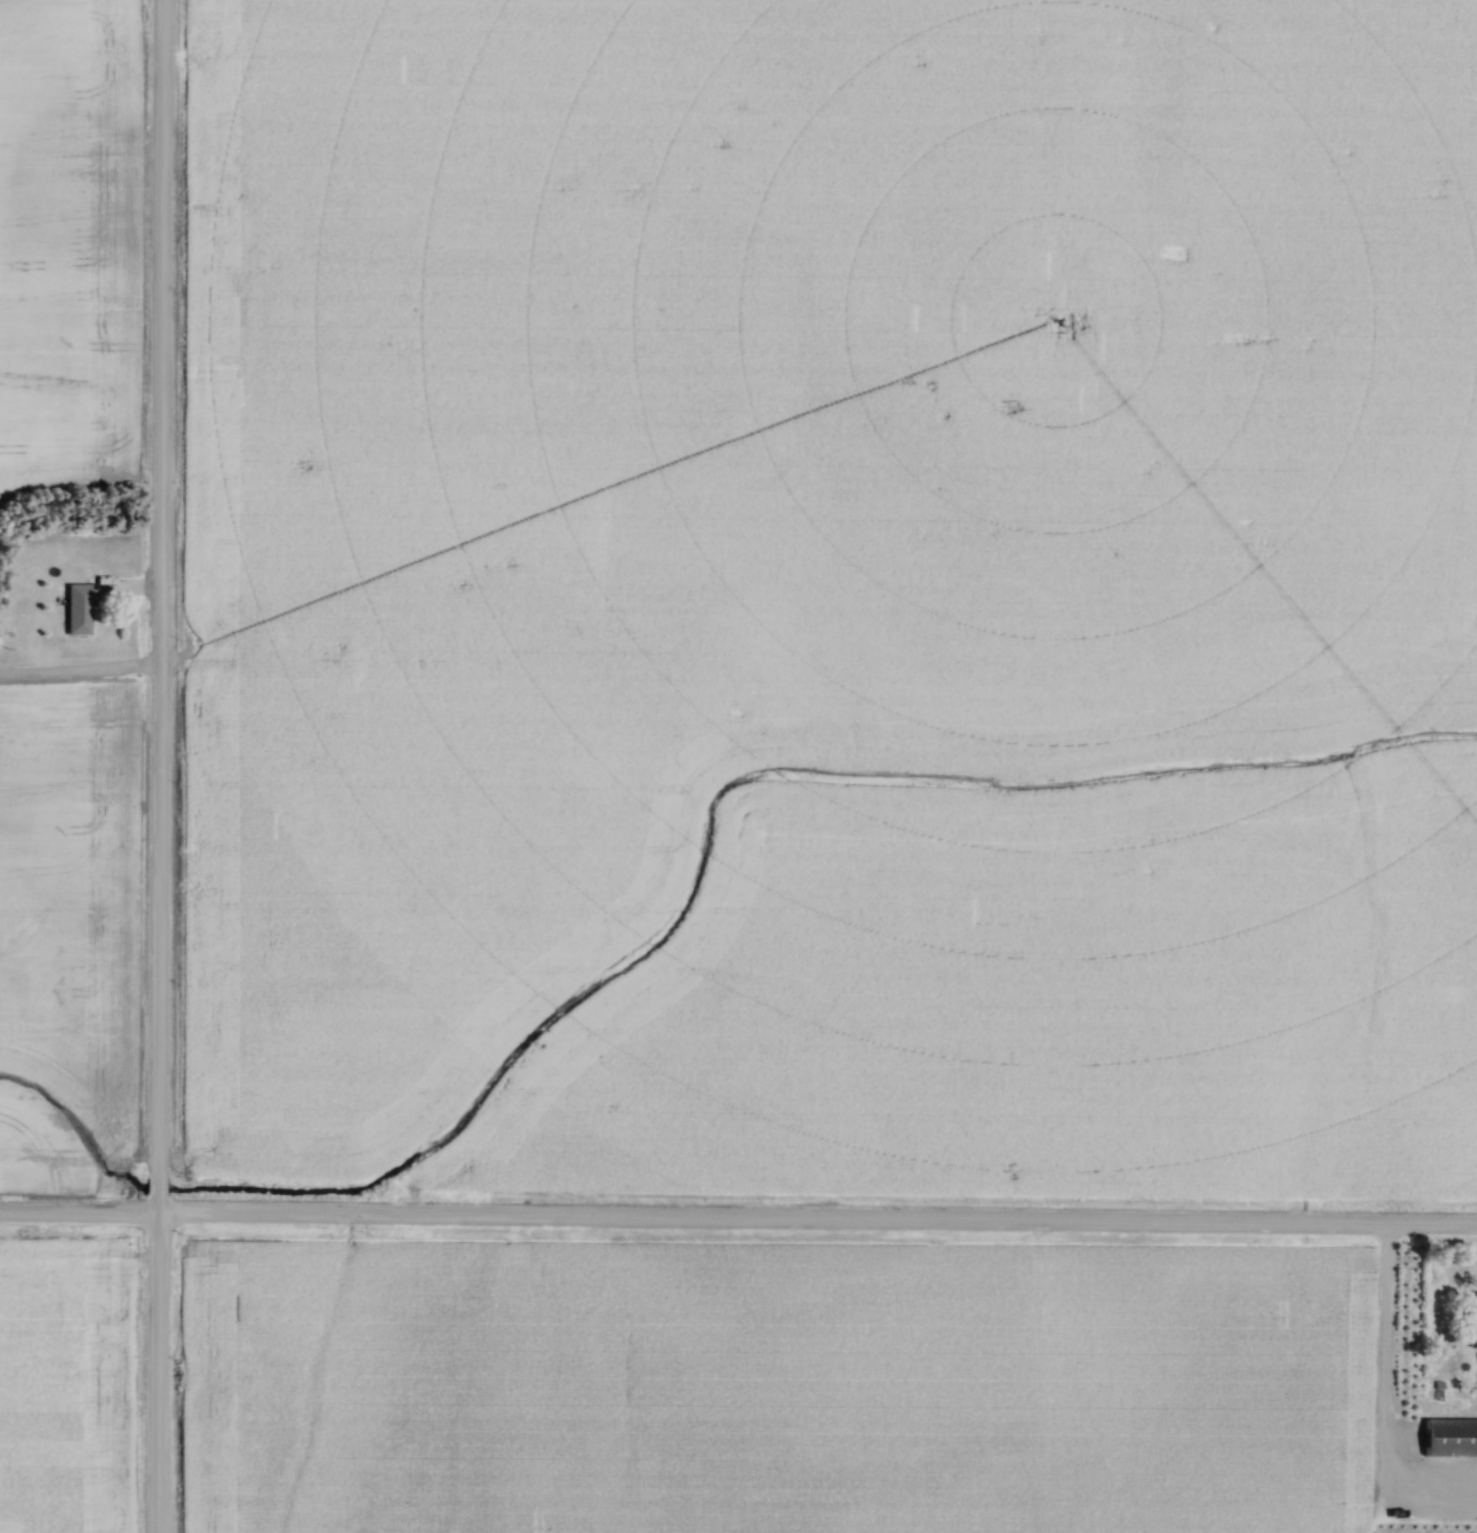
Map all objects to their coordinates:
building: (80, 609)
road: (80, 668)
road: (160, 766)
road: (738, 1219)
building: (1472, 1320)
building: (1449, 1438)

